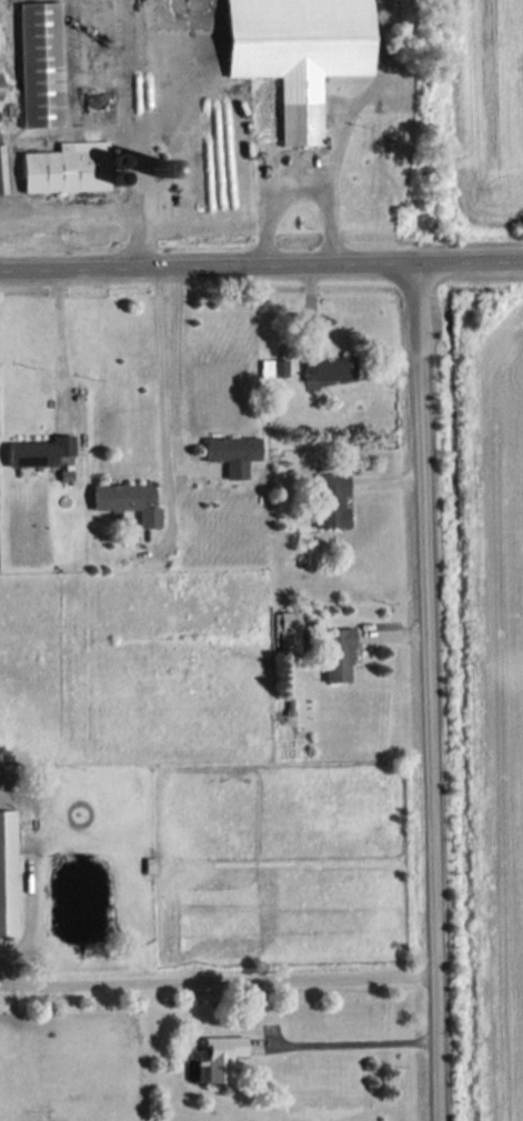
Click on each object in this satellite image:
building: (302, 52)
building: (42, 64)
building: (1, 87)
building: (70, 168)
building: (3, 169)
road: (304, 187)
road: (93, 211)
road: (261, 267)
road: (60, 340)
building: (331, 367)
building: (274, 368)
road: (174, 384)
road: (163, 413)
building: (44, 451)
building: (234, 453)
building: (130, 500)
building: (334, 500)
building: (340, 654)
road: (435, 692)
building: (9, 872)
road: (220, 979)
road: (356, 1037)
building: (222, 1057)

